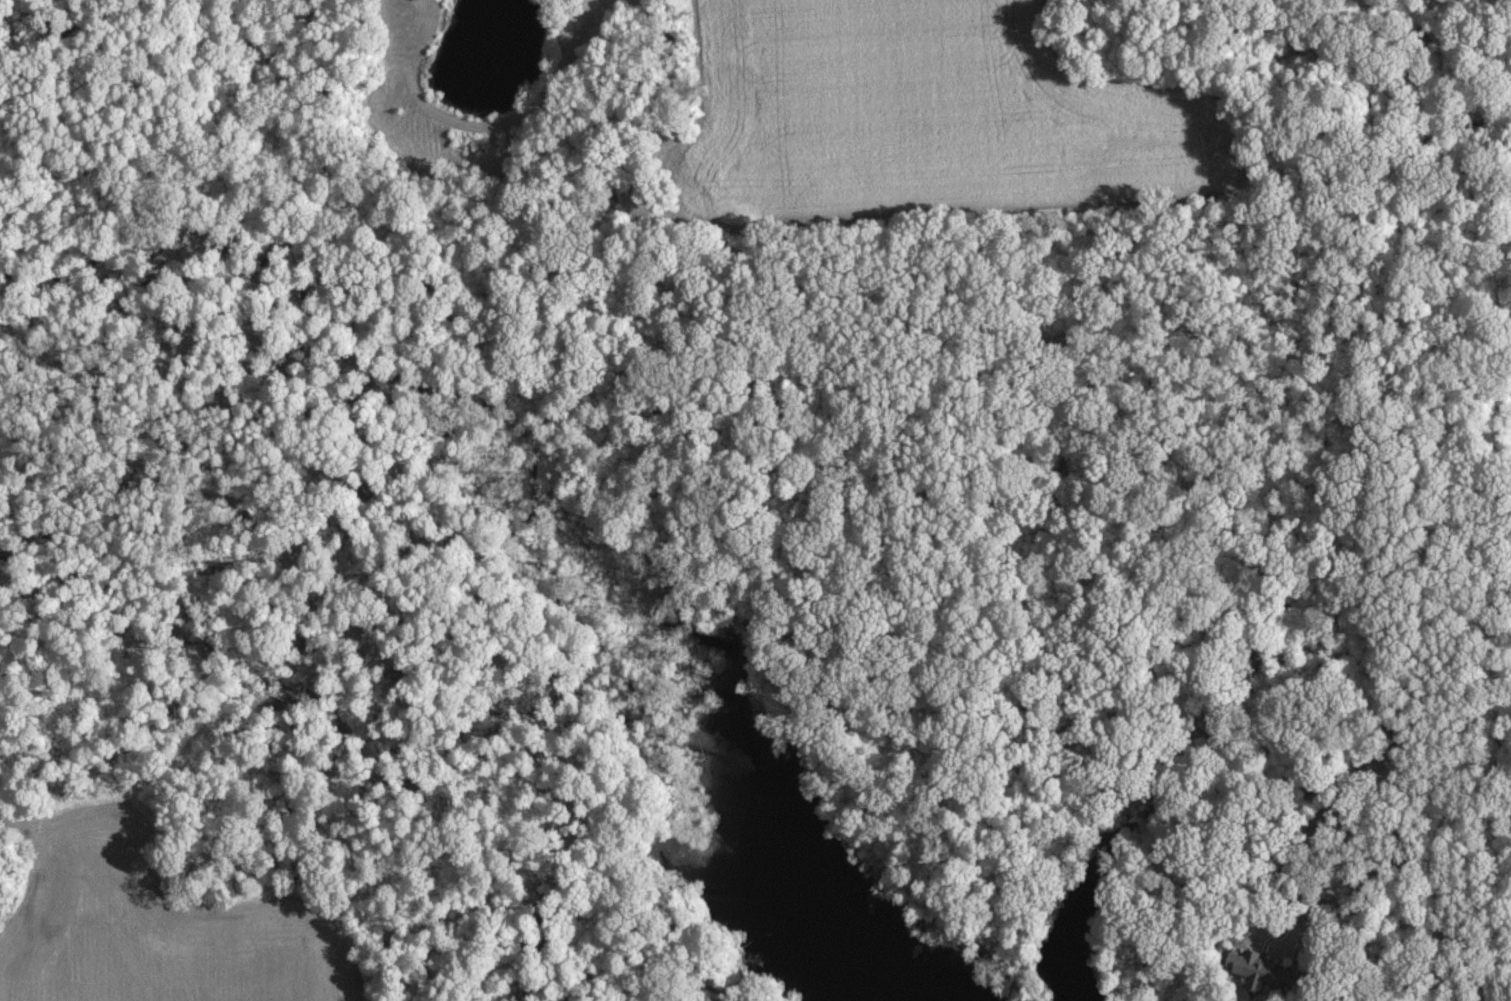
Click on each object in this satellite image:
building: (1261, 970)
road: (1439, 994)

